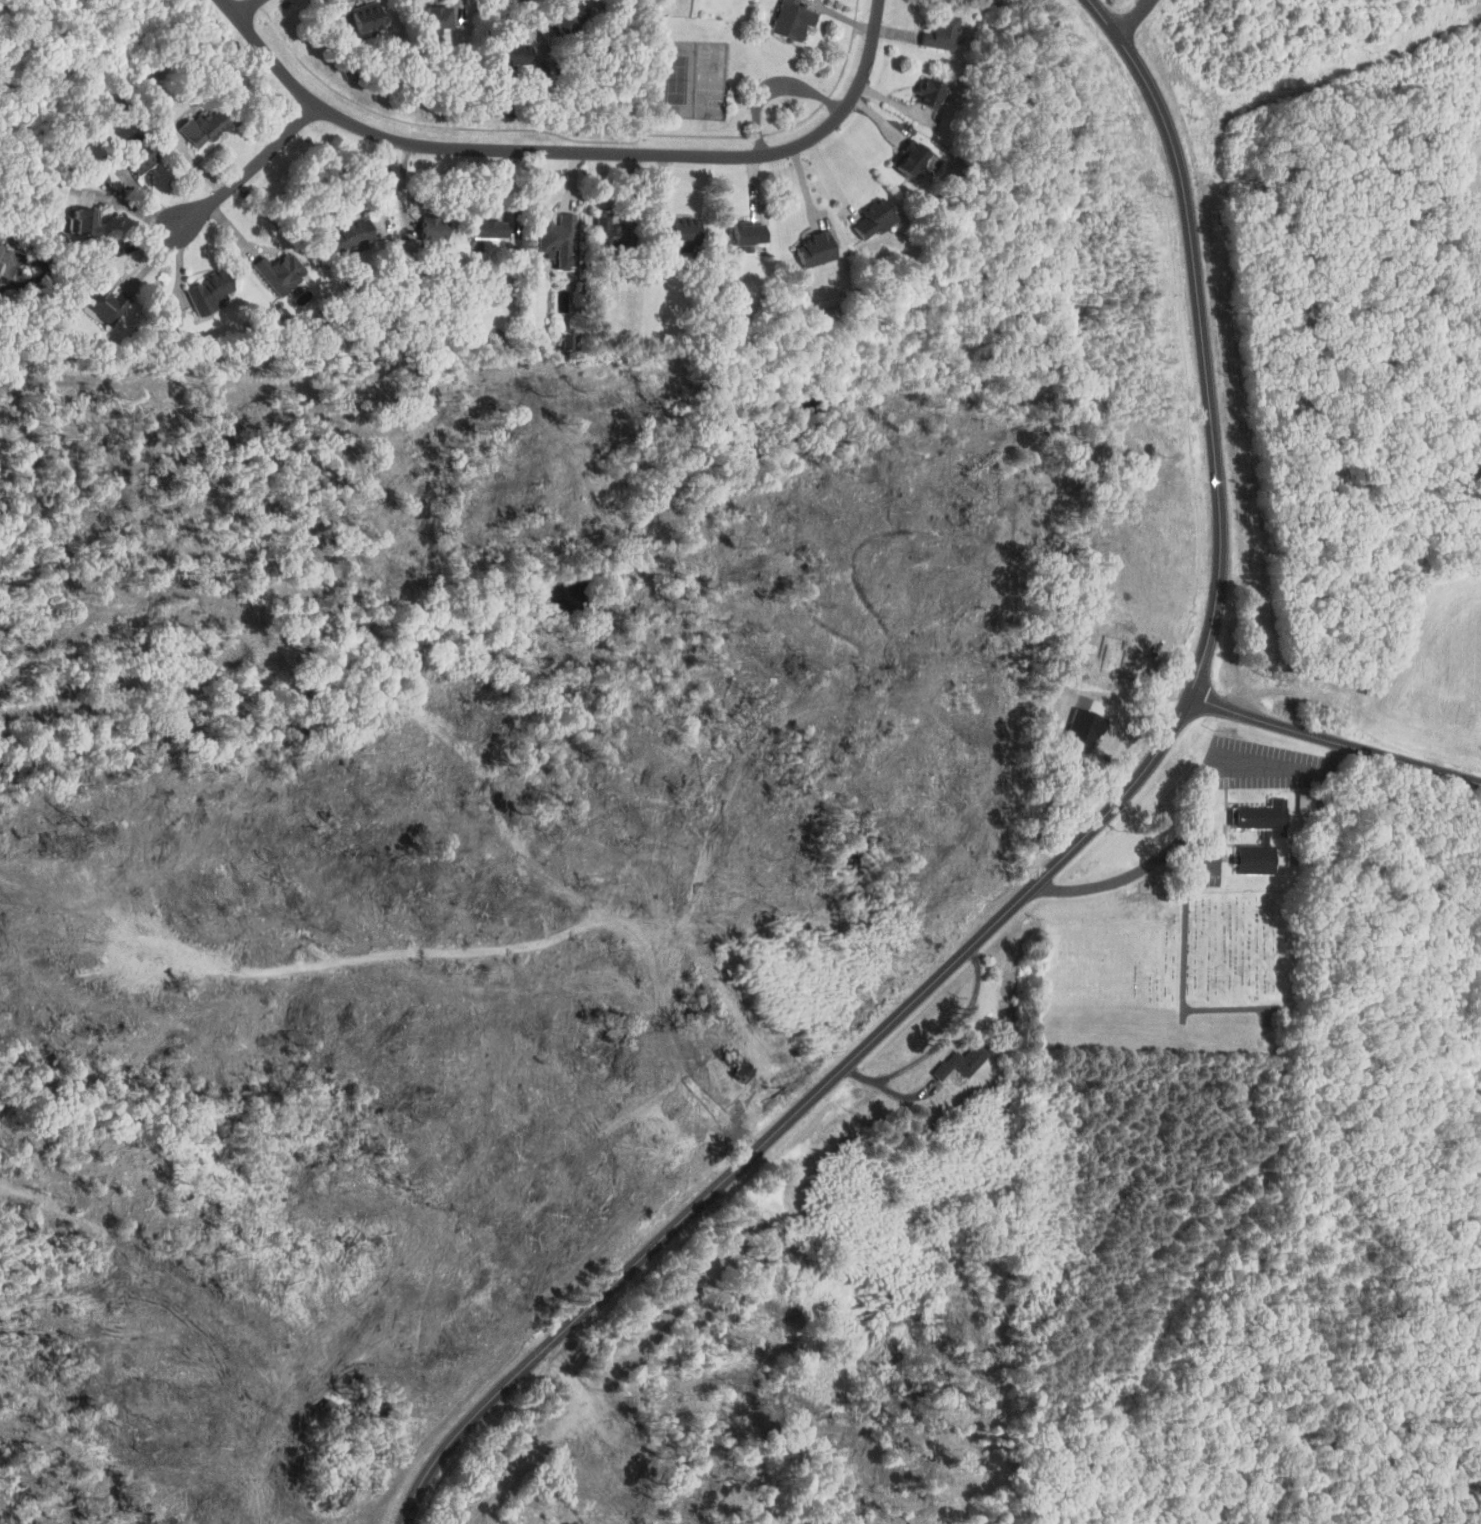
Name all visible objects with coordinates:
road: (1147, 2)
road: (244, 7)
building: (429, 16)
road: (1137, 17)
building: (786, 20)
road: (533, 22)
building: (936, 31)
park: (692, 79)
building: (922, 90)
road: (774, 91)
building: (197, 127)
road: (574, 138)
road: (570, 151)
building: (902, 158)
road: (253, 168)
road: (134, 208)
building: (869, 222)
building: (670, 230)
building: (740, 235)
building: (552, 240)
building: (810, 249)
building: (2, 252)
road: (67, 266)
building: (273, 270)
building: (204, 292)
building: (100, 306)
road: (1335, 741)
road: (1198, 807)
building: (1262, 836)
road: (1062, 862)
road: (939, 1042)
building: (959, 1061)
building: (733, 1063)
road: (405, 1441)
road: (377, 1490)

